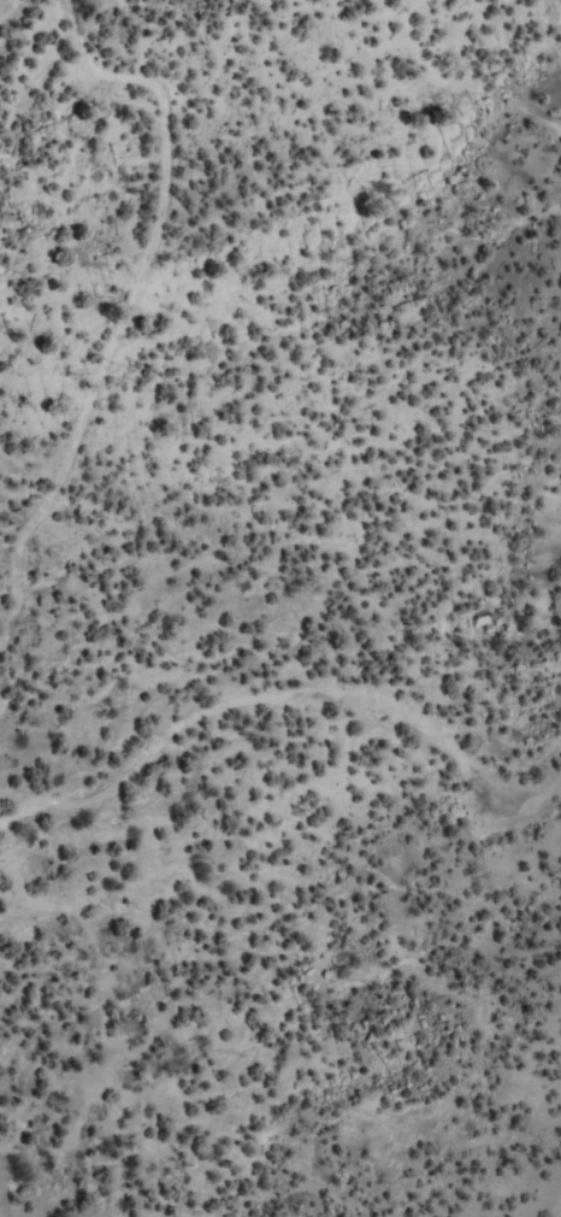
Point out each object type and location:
road: (262, 692)

